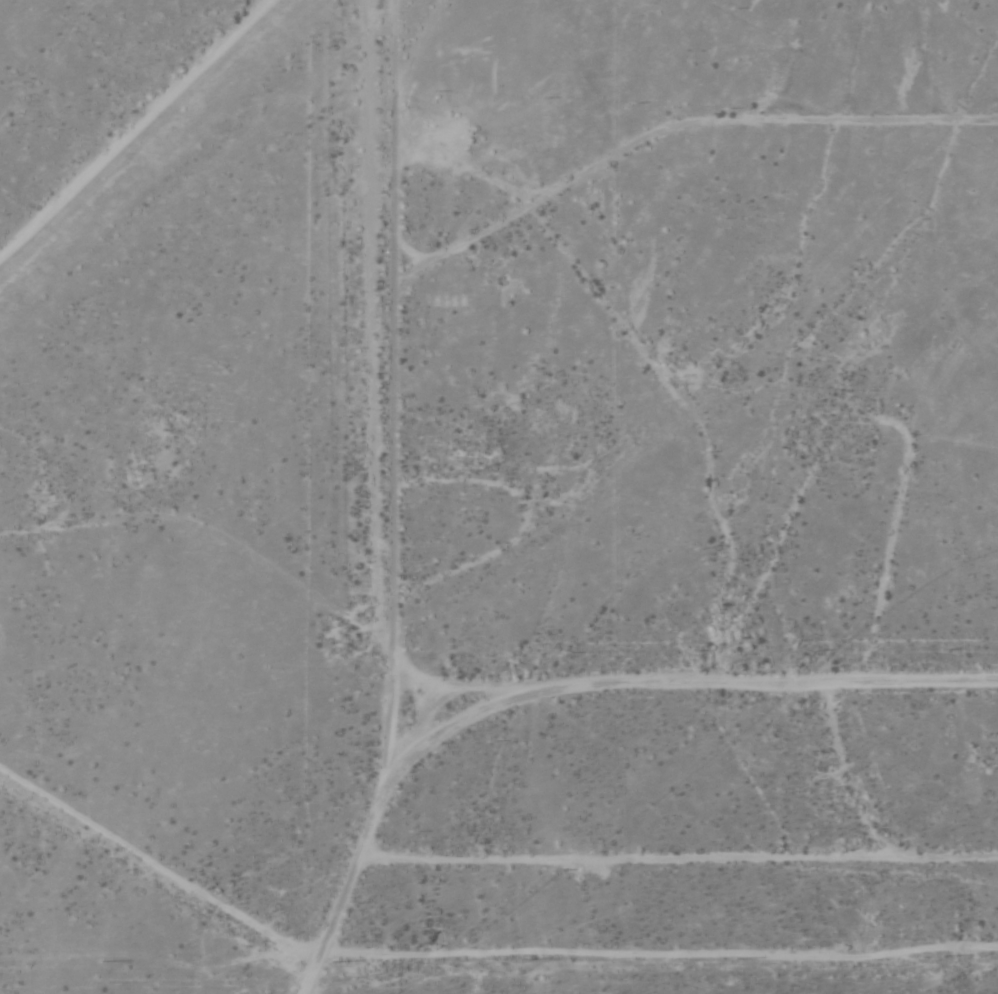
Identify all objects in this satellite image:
road: (145, 144)
road: (382, 402)
road: (582, 713)
road: (170, 910)
road: (202, 968)

